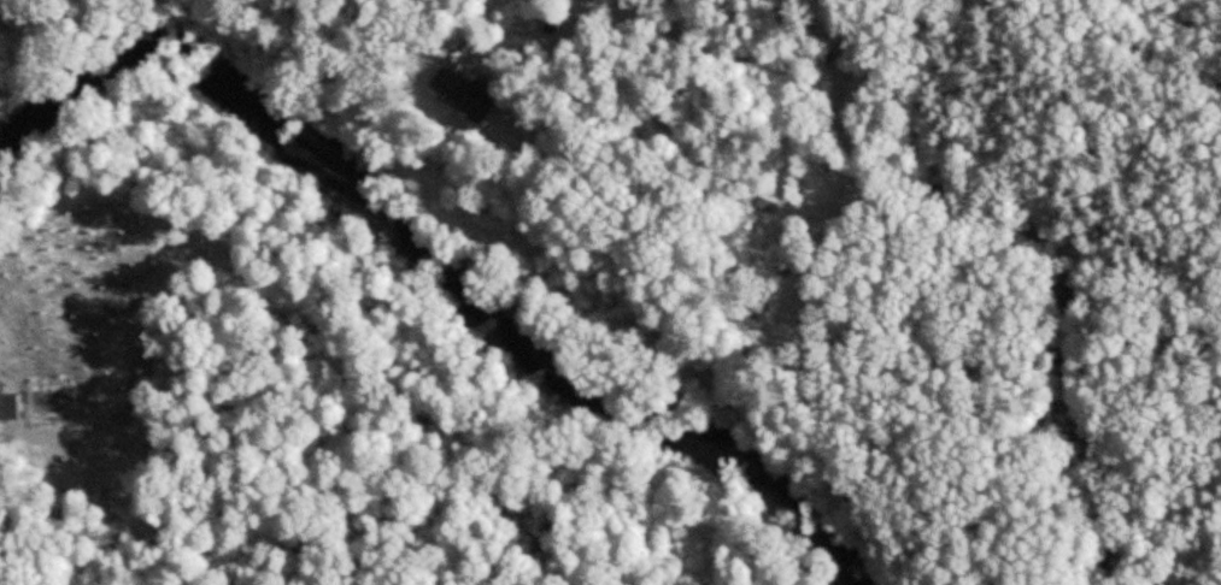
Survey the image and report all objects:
river: (450, 262)

